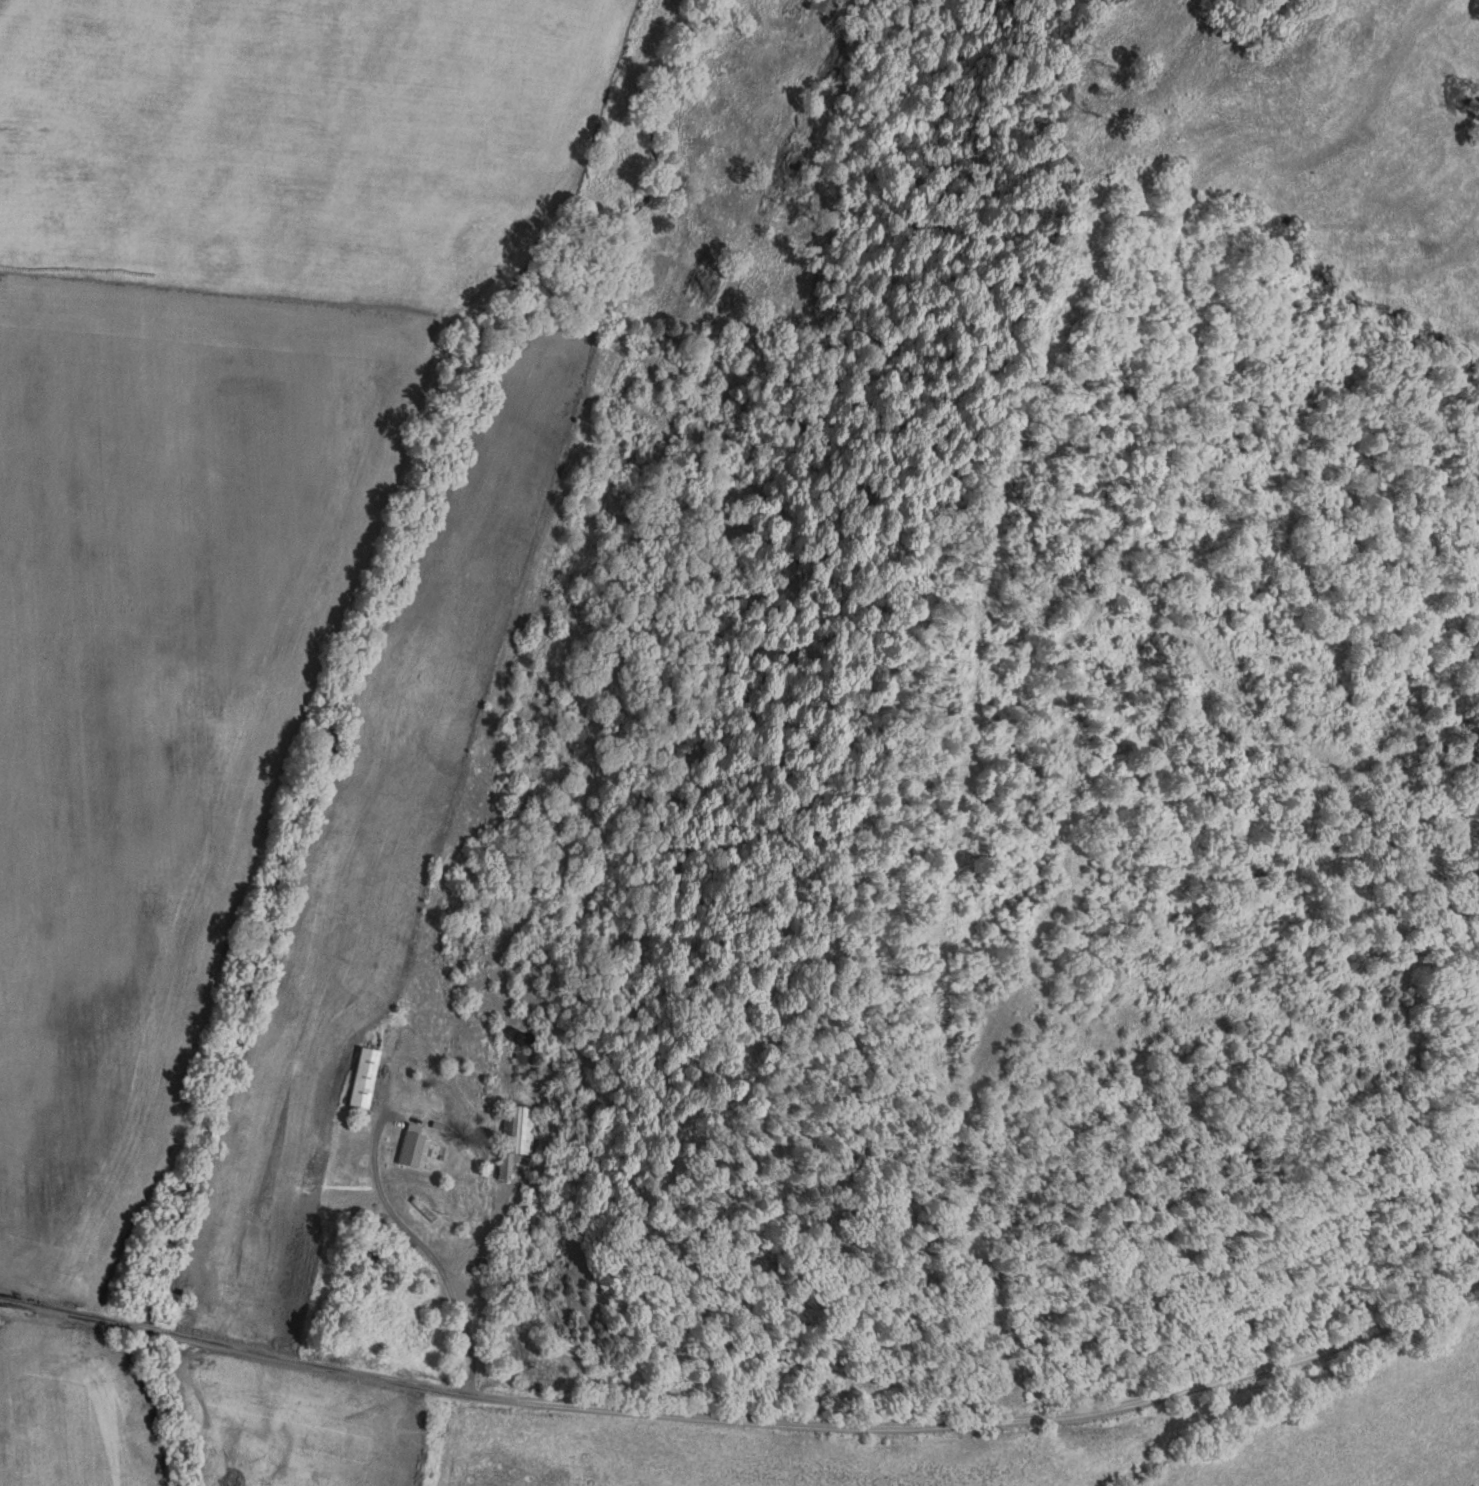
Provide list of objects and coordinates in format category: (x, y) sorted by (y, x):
building: (824, 6)
building: (364, 1078)
building: (515, 1136)
building: (414, 1147)
road: (383, 1191)
building: (426, 1211)
building: (369, 1257)
road: (95, 1317)
road: (845, 1424)

